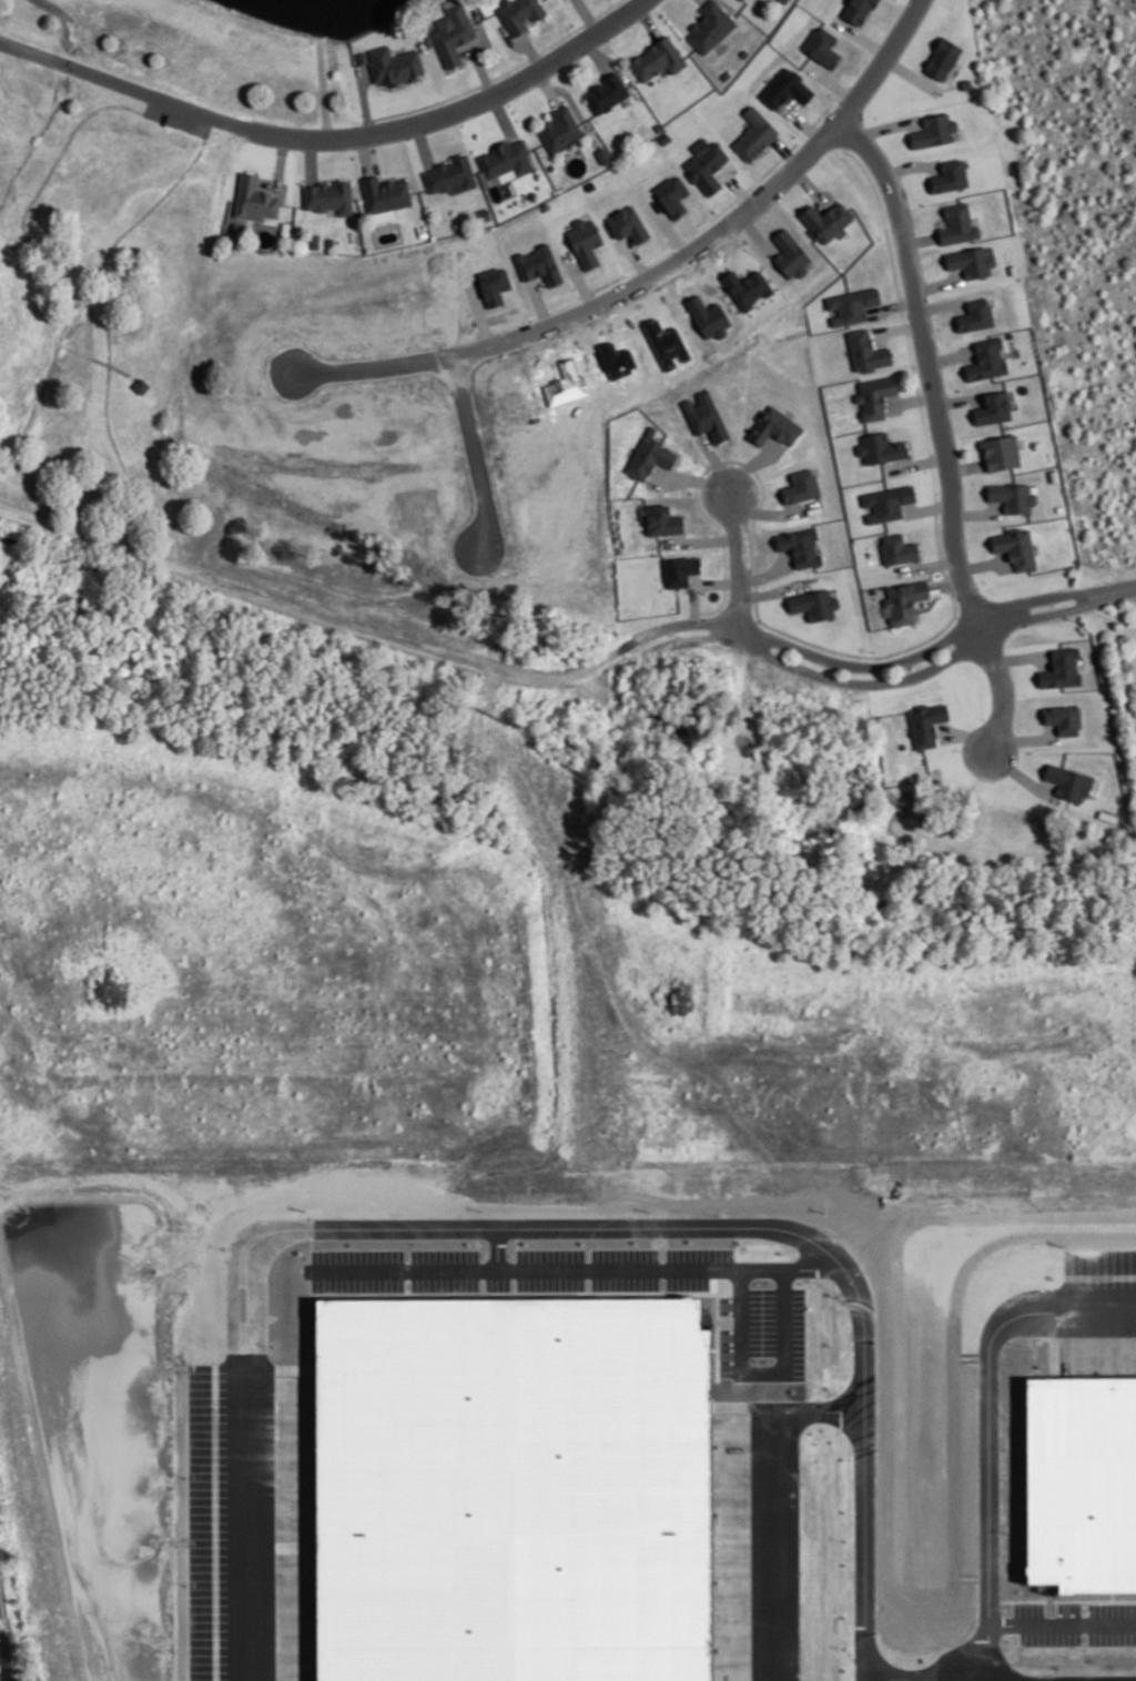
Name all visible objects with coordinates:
building: (741, 0)
building: (784, 0)
road: (727, 4)
building: (858, 11)
building: (520, 12)
road: (589, 16)
road: (648, 20)
building: (712, 24)
building: (454, 31)
building: (428, 39)
street lamp: (610, 39)
road: (511, 40)
building: (822, 47)
road: (532, 51)
building: (744, 51)
road: (598, 53)
building: (363, 55)
building: (659, 57)
building: (942, 59)
building: (395, 63)
road: (615, 64)
road: (483, 70)
road: (499, 73)
building: (727, 73)
road: (121, 82)
road: (323, 85)
road: (548, 87)
building: (785, 89)
building: (608, 91)
road: (365, 100)
road: (572, 100)
road: (456, 111)
road: (503, 117)
parking lot: (176, 118)
street lamp: (361, 121)
road: (835, 122)
building: (659, 126)
building: (560, 129)
building: (933, 131)
building: (757, 132)
road: (424, 144)
road: (787, 150)
road: (365, 154)
building: (603, 154)
building: (505, 159)
road: (311, 160)
road: (280, 161)
building: (706, 165)
building: (453, 172)
building: (949, 176)
building: (385, 192)
building: (329, 194)
building: (672, 195)
building: (254, 198)
building: (485, 213)
building: (825, 221)
building: (956, 223)
building: (627, 224)
road: (755, 230)
building: (423, 231)
road: (919, 239)
building: (315, 240)
building: (329, 240)
building: (585, 242)
building: (789, 254)
building: (971, 262)
building: (538, 264)
building: (494, 285)
building: (853, 303)
road: (940, 305)
building: (974, 314)
building: (707, 316)
road: (897, 327)
road: (518, 333)
building: (866, 350)
road: (950, 356)
building: (985, 358)
road: (97, 360)
street lamp: (916, 365)
building: (142, 383)
building: (876, 394)
road: (911, 398)
building: (992, 406)
building: (704, 416)
building: (777, 425)
road: (941, 427)
road: (910, 440)
building: (881, 446)
building: (998, 450)
building: (650, 455)
road: (468, 457)
road: (716, 462)
road: (916, 462)
road: (965, 466)
road: (694, 478)
building: (801, 486)
road: (38, 489)
building: (1012, 495)
building: (887, 500)
road: (927, 506)
road: (757, 509)
road: (936, 509)
road: (974, 513)
building: (661, 520)
street lamp: (751, 528)
road: (702, 536)
building: (1015, 546)
building: (800, 547)
building: (896, 549)
road: (741, 561)
road: (929, 564)
road: (980, 564)
building: (679, 570)
road: (947, 584)
road: (770, 586)
road: (1122, 588)
street lamp: (985, 593)
road: (1046, 595)
building: (905, 598)
building: (813, 605)
road: (314, 610)
road: (1051, 612)
road: (978, 621)
road: (687, 622)
road: (687, 639)
road: (861, 665)
building: (1061, 668)
road: (863, 681)
building: (1063, 719)
building: (927, 721)
road: (966, 733)
building: (1068, 782)
road: (554, 1222)
road: (513, 1242)
road: (587, 1260)
road: (780, 1368)
road: (988, 1431)
building: (1075, 1477)
building: (501, 1486)
road: (774, 1501)
road: (1062, 1623)
railway: (6, 1650)
road: (919, 1679)

